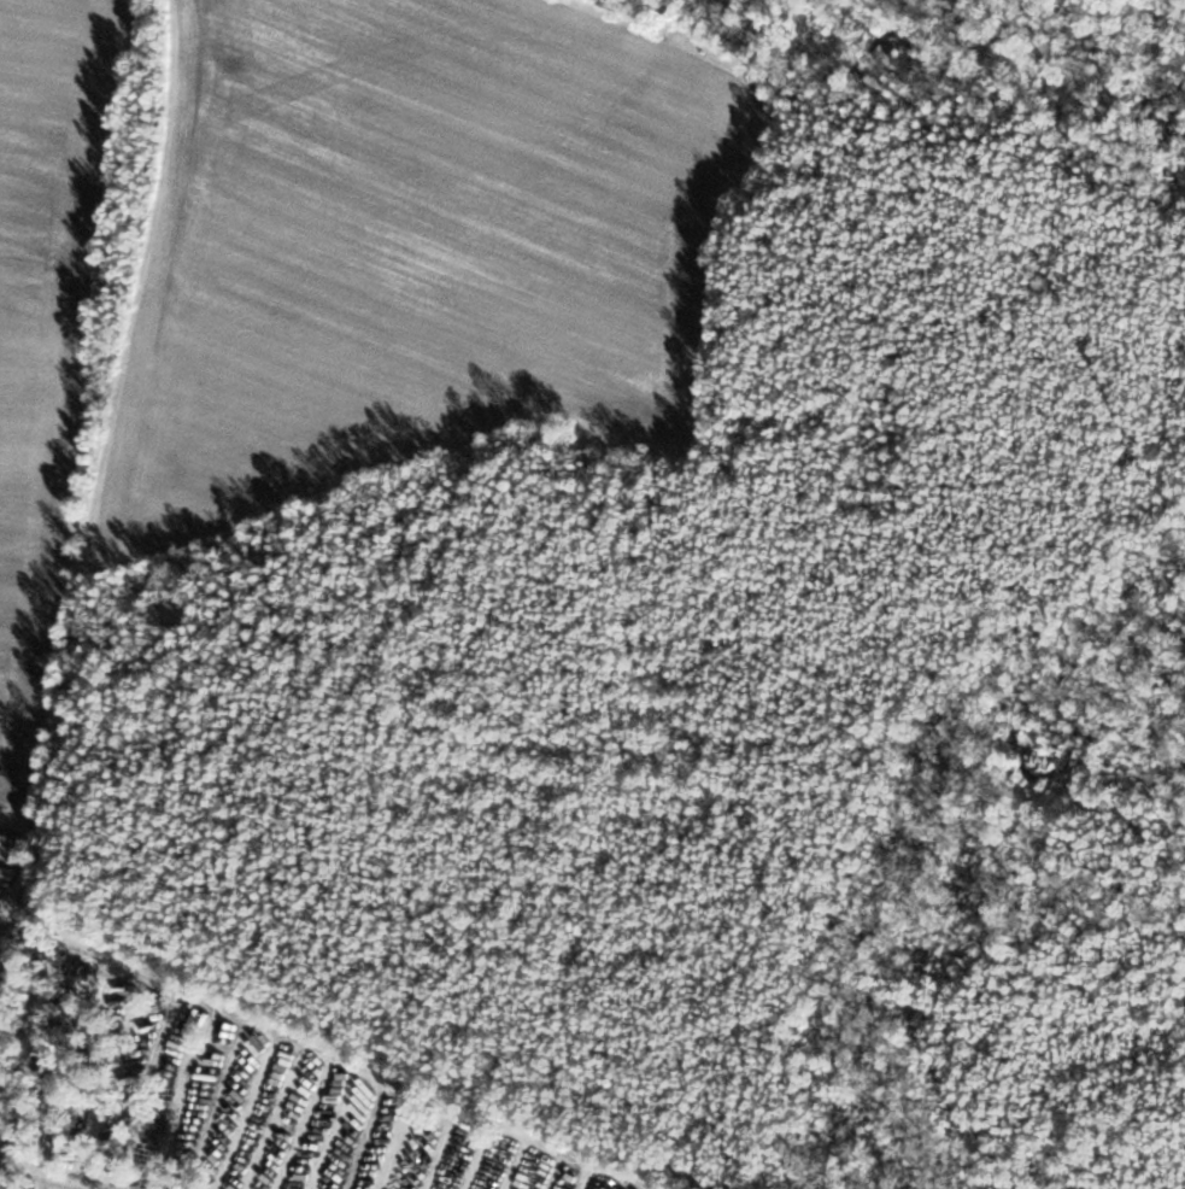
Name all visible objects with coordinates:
building: (4, 948)

